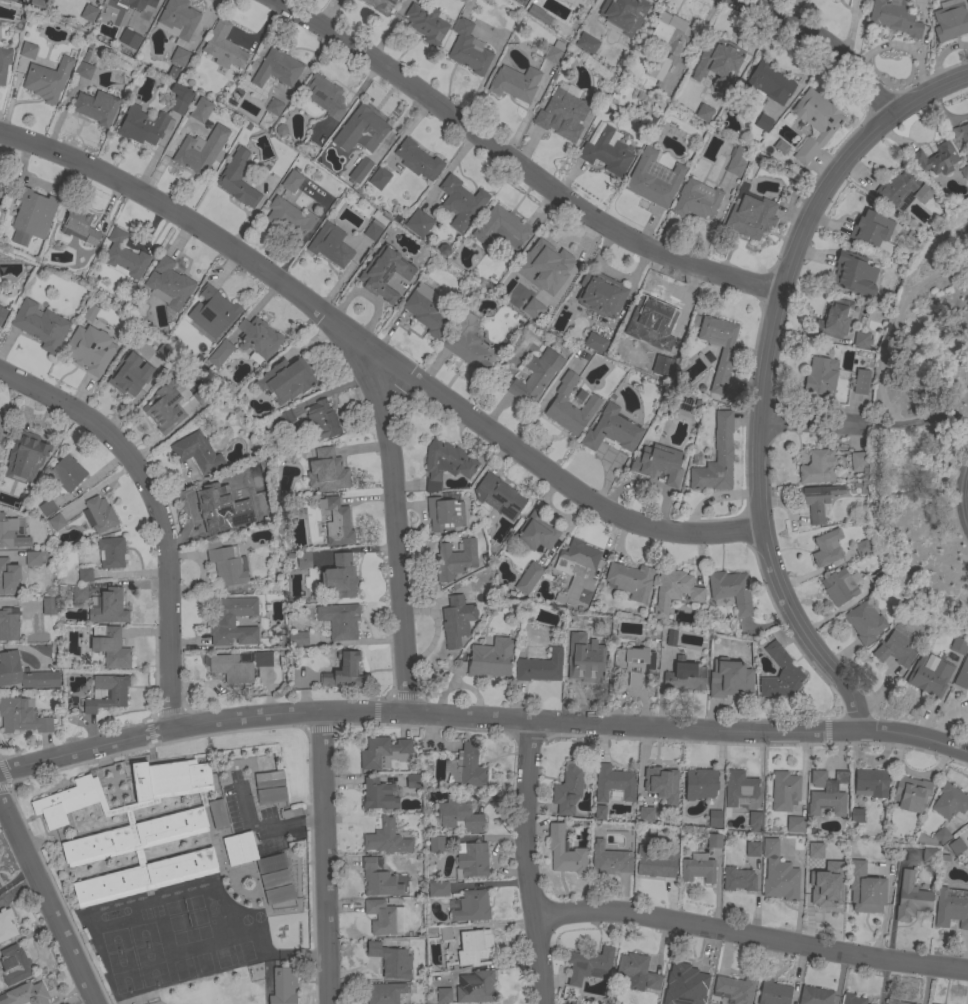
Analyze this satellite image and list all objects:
building: (89, 0)
building: (416, 0)
building: (588, 0)
building: (136, 3)
building: (380, 5)
building: (88, 13)
building: (540, 15)
building: (623, 15)
building: (894, 17)
building: (177, 19)
building: (950, 21)
building: (426, 24)
building: (130, 39)
building: (667, 42)
building: (586, 43)
building: (223, 46)
road: (819, 46)
building: (468, 48)
building: (28, 50)
building: (553, 52)
building: (179, 56)
building: (717, 62)
building: (4, 63)
building: (277, 68)
building: (83, 70)
building: (47, 79)
building: (515, 82)
building: (769, 82)
building: (566, 90)
building: (324, 95)
building: (235, 97)
building: (180, 98)
building: (96, 107)
building: (274, 107)
building: (200, 110)
building: (703, 112)
building: (562, 114)
building: (815, 122)
building: (761, 124)
building: (142, 125)
building: (360, 130)
building: (961, 132)
building: (200, 150)
building: (607, 153)
road: (844, 156)
building: (936, 159)
building: (417, 160)
building: (737, 161)
building: (967, 161)
road: (514, 163)
building: (360, 170)
building: (963, 171)
building: (379, 178)
building: (237, 179)
building: (653, 179)
building: (292, 180)
building: (4, 184)
building: (903, 190)
building: (696, 199)
building: (460, 202)
building: (750, 213)
building: (31, 215)
building: (289, 219)
building: (418, 223)
building: (80, 226)
building: (501, 226)
building: (871, 229)
building: (373, 230)
building: (330, 245)
building: (124, 256)
building: (545, 260)
building: (384, 273)
building: (854, 273)
building: (169, 286)
building: (600, 294)
building: (427, 310)
building: (212, 312)
building: (87, 313)
building: (2, 314)
building: (834, 319)
building: (40, 325)
building: (654, 326)
building: (258, 339)
building: (861, 339)
building: (595, 343)
building: (469, 344)
building: (89, 349)
road: (376, 352)
building: (220, 353)
building: (724, 354)
building: (127, 376)
building: (535, 376)
building: (821, 376)
building: (285, 380)
building: (861, 382)
building: (201, 396)
building: (570, 406)
building: (163, 407)
building: (286, 417)
park: (925, 418)
building: (322, 420)
building: (1, 423)
road: (810, 424)
building: (612, 430)
building: (28, 450)
building: (197, 452)
building: (716, 457)
building: (858, 461)
building: (446, 463)
building: (658, 463)
building: (818, 467)
building: (328, 471)
building: (66, 473)
building: (5, 491)
road: (963, 492)
building: (498, 495)
building: (818, 501)
building: (47, 507)
building: (220, 507)
road: (161, 510)
building: (99, 514)
building: (444, 514)
building: (56, 522)
building: (337, 522)
road: (398, 522)
road: (760, 525)
building: (7, 531)
building: (536, 532)
building: (827, 547)
building: (862, 547)
building: (111, 552)
building: (32, 558)
building: (303, 559)
building: (455, 559)
building: (227, 564)
building: (577, 572)
building: (84, 574)
building: (340, 576)
building: (8, 577)
building: (528, 577)
building: (878, 577)
building: (630, 580)
building: (838, 586)
building: (731, 590)
building: (674, 591)
building: (80, 594)
building: (48, 606)
building: (108, 607)
building: (229, 618)
building: (339, 620)
building: (456, 620)
building: (864, 622)
building: (9, 624)
building: (572, 632)
building: (262, 633)
building: (669, 638)
building: (297, 639)
building: (937, 645)
building: (110, 646)
building: (895, 646)
building: (956, 647)
building: (490, 660)
building: (634, 663)
building: (239, 665)
building: (540, 667)
building: (587, 669)
building: (343, 671)
building: (23, 673)
building: (780, 674)
building: (684, 675)
building: (962, 675)
building: (729, 678)
building: (932, 681)
building: (107, 693)
building: (967, 707)
building: (21, 716)
road: (481, 719)
building: (385, 752)
building: (465, 767)
building: (269, 779)
building: (412, 781)
building: (613, 783)
building: (871, 783)
building: (700, 784)
building: (660, 786)
building: (567, 789)
building: (739, 789)
building: (784, 791)
building: (827, 793)
building: (911, 793)
building: (378, 794)
building: (271, 795)
building: (67, 801)
building: (950, 801)
building: (118, 811)
building: (597, 813)
building: (218, 814)
building: (459, 814)
building: (643, 815)
building: (856, 815)
building: (714, 818)
building: (176, 820)
building: (755, 821)
building: (795, 824)
road: (267, 830)
building: (386, 838)
building: (932, 838)
building: (714, 841)
building: (436, 844)
building: (957, 847)
building: (752, 849)
building: (812, 850)
building: (564, 851)
building: (250, 853)
building: (929, 854)
road: (325, 858)
building: (472, 859)
building: (609, 859)
building: (655, 862)
road: (528, 863)
building: (697, 869)
building: (778, 874)
road: (15, 877)
building: (144, 877)
building: (379, 878)
building: (275, 879)
building: (738, 879)
building: (0, 886)
building: (438, 889)
building: (865, 889)
building: (821, 891)
building: (279, 894)
building: (911, 898)
road: (47, 902)
building: (472, 906)
building: (951, 907)
building: (384, 917)
building: (6, 925)
building: (445, 933)
road: (751, 934)
building: (121, 938)
building: (474, 946)
building: (228, 955)
building: (391, 960)
building: (15, 964)
building: (589, 965)
building: (638, 972)
building: (686, 974)
building: (151, 976)
building: (237, 986)
building: (283, 986)
building: (476, 988)
building: (734, 988)
building: (385, 993)
building: (773, 993)
building: (26, 994)
building: (443, 995)
building: (815, 995)
building: (852, 999)
building: (896, 1002)
building: (570, 1003)
building: (574, 1003)

